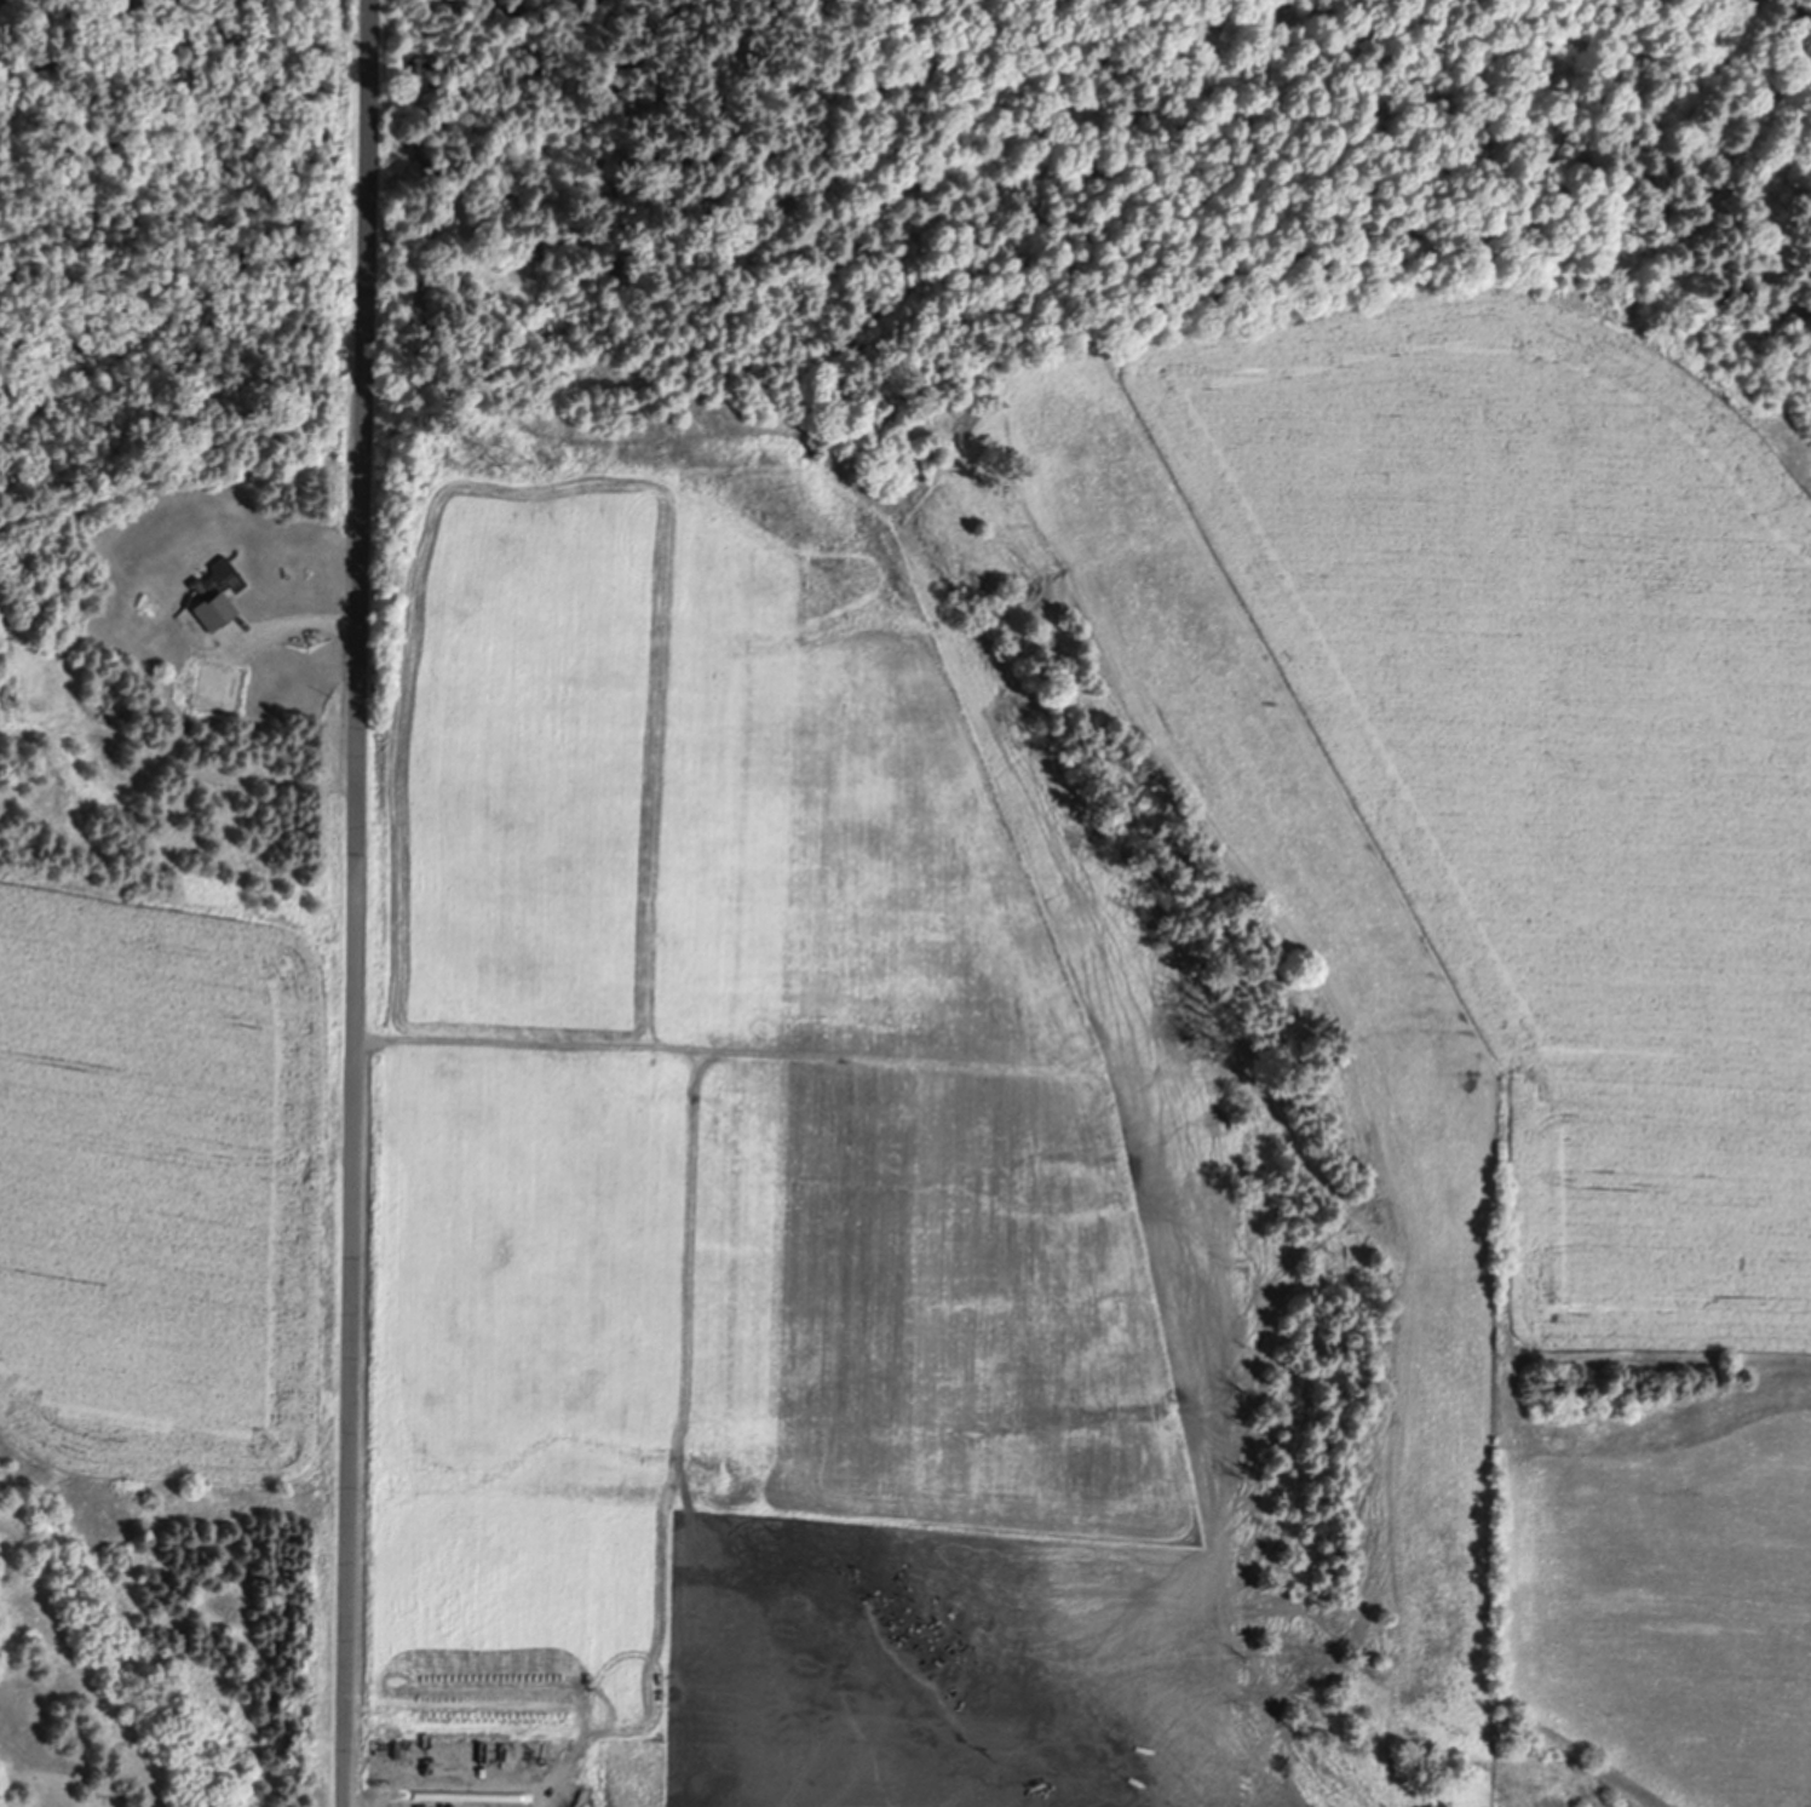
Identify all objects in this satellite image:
road: (357, 904)
building: (1790, 1387)

